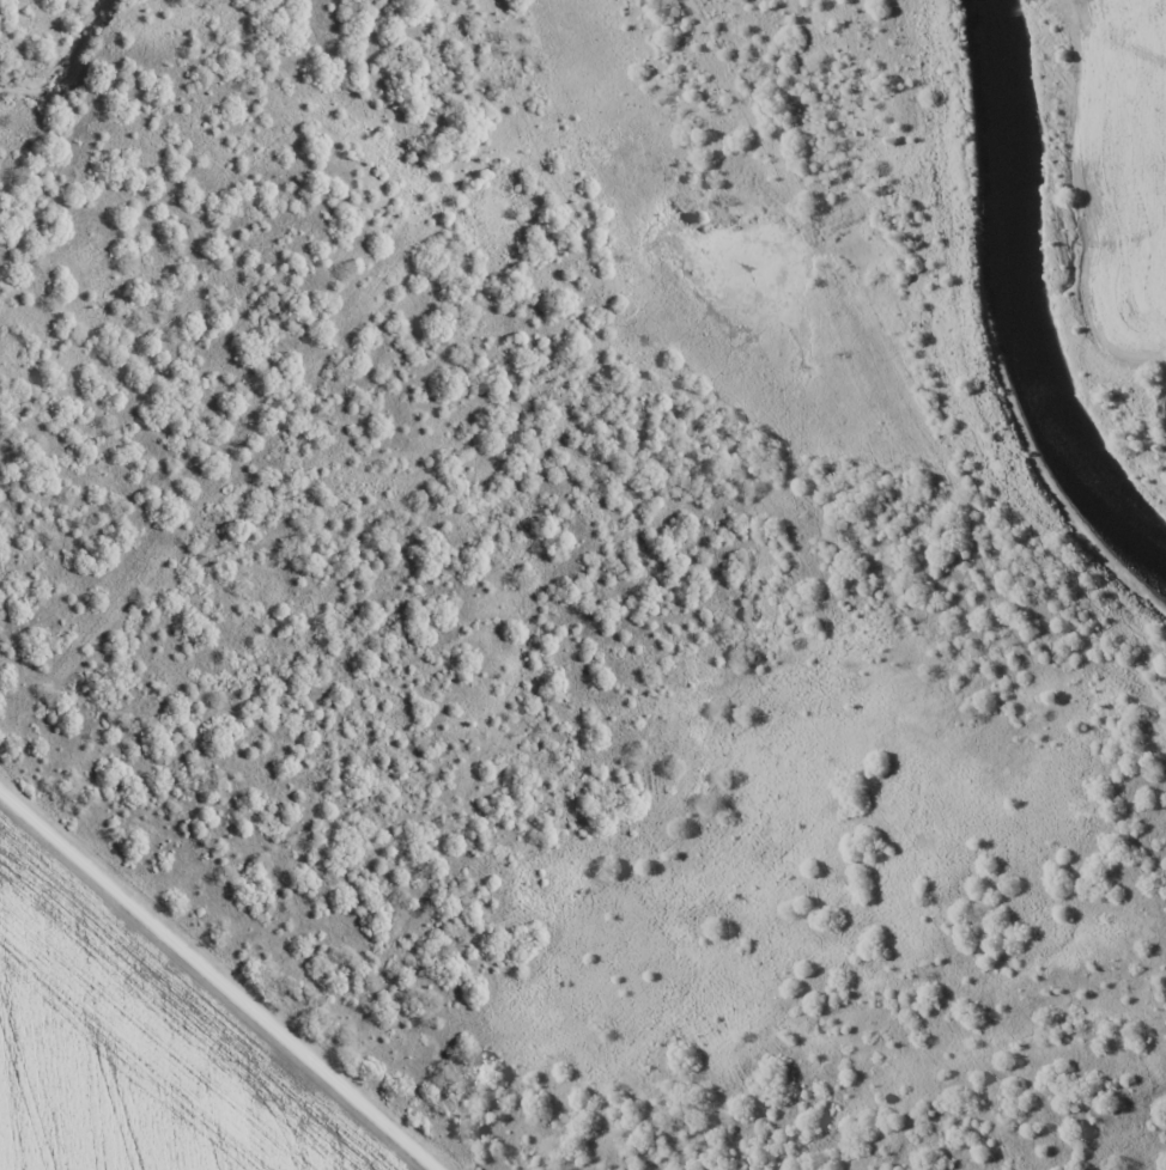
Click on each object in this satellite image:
road: (206, 988)

